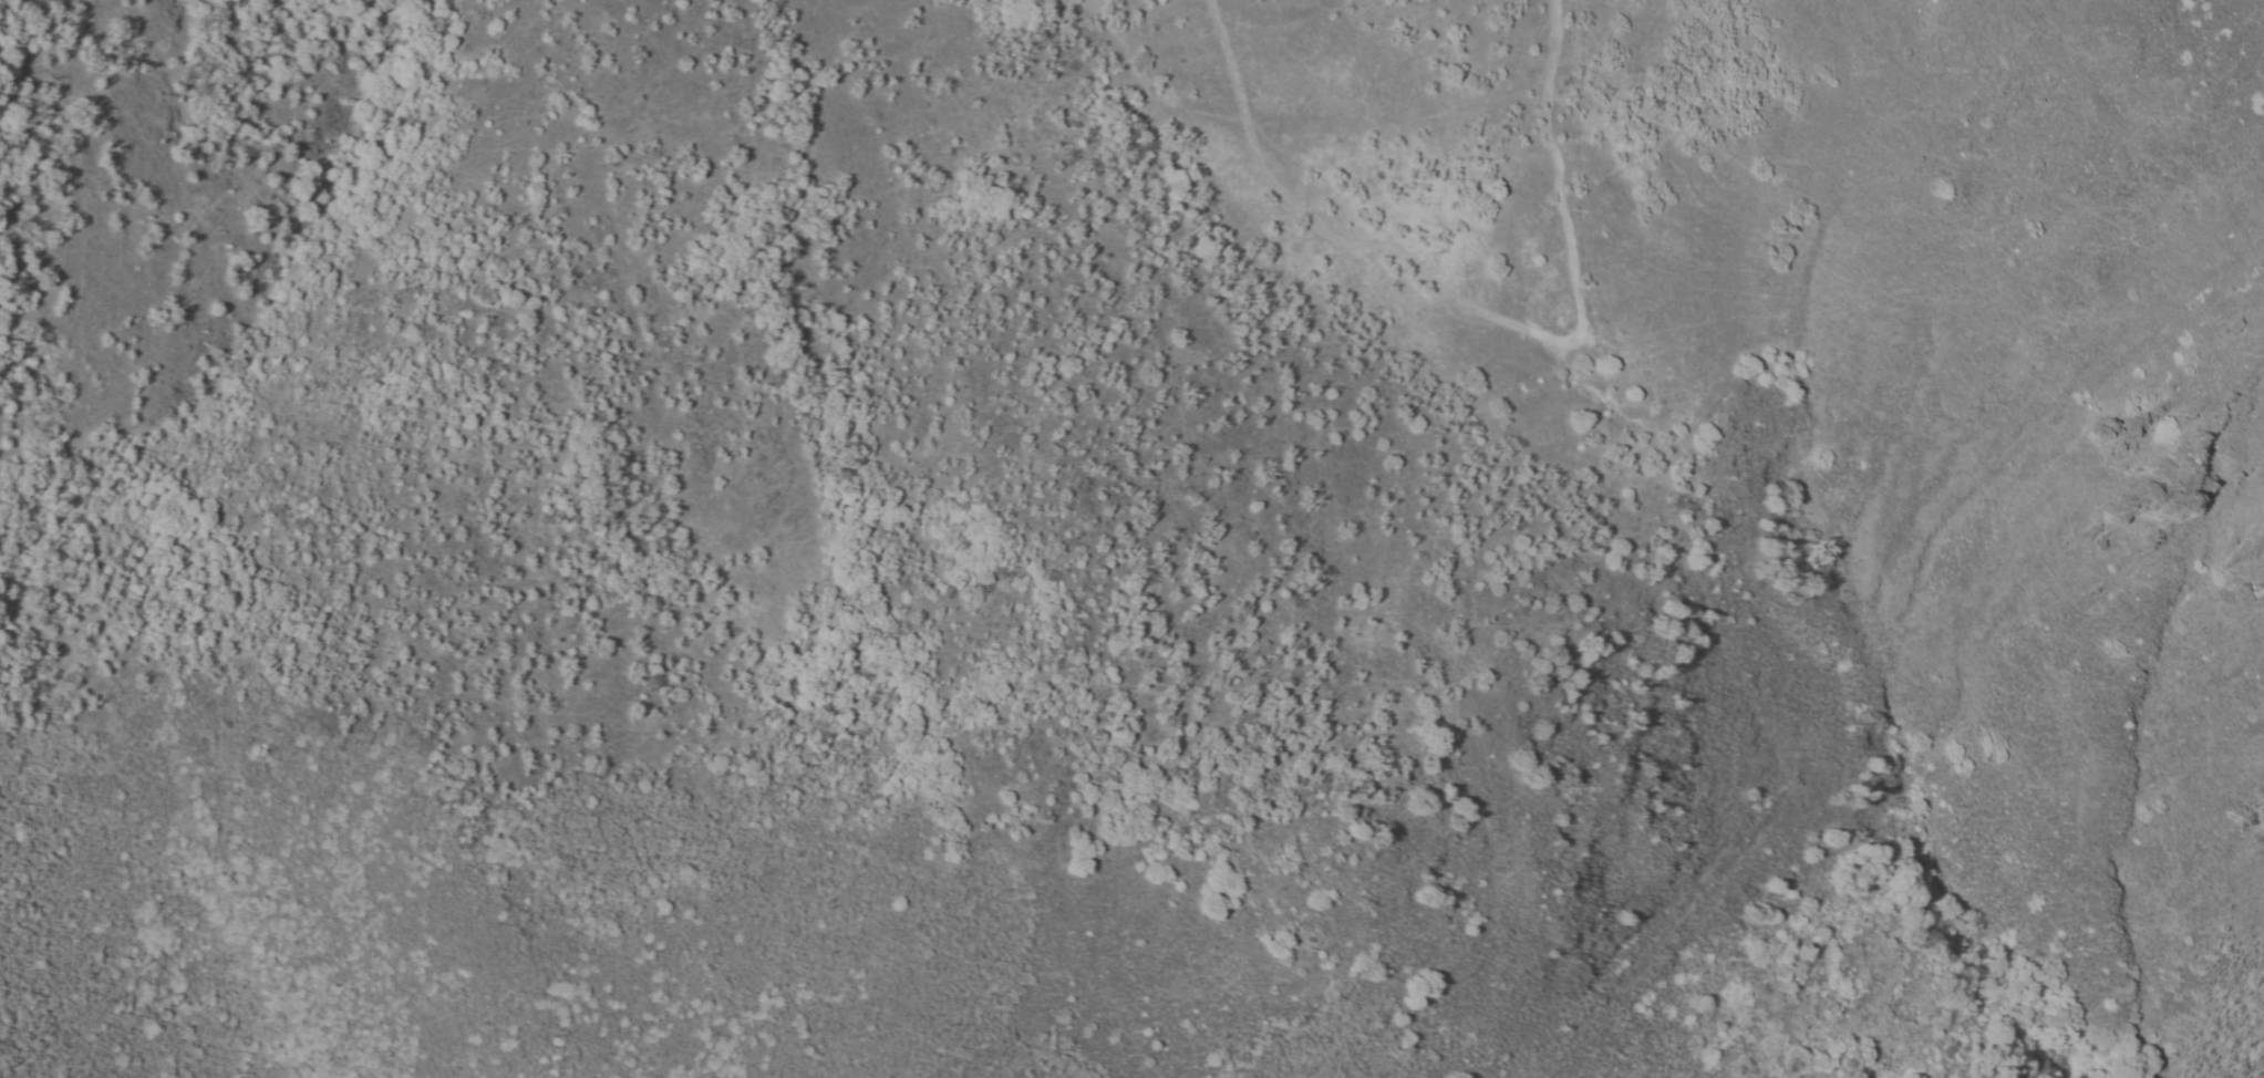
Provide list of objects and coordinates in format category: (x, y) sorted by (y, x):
road: (1284, 194)
road: (1564, 226)

